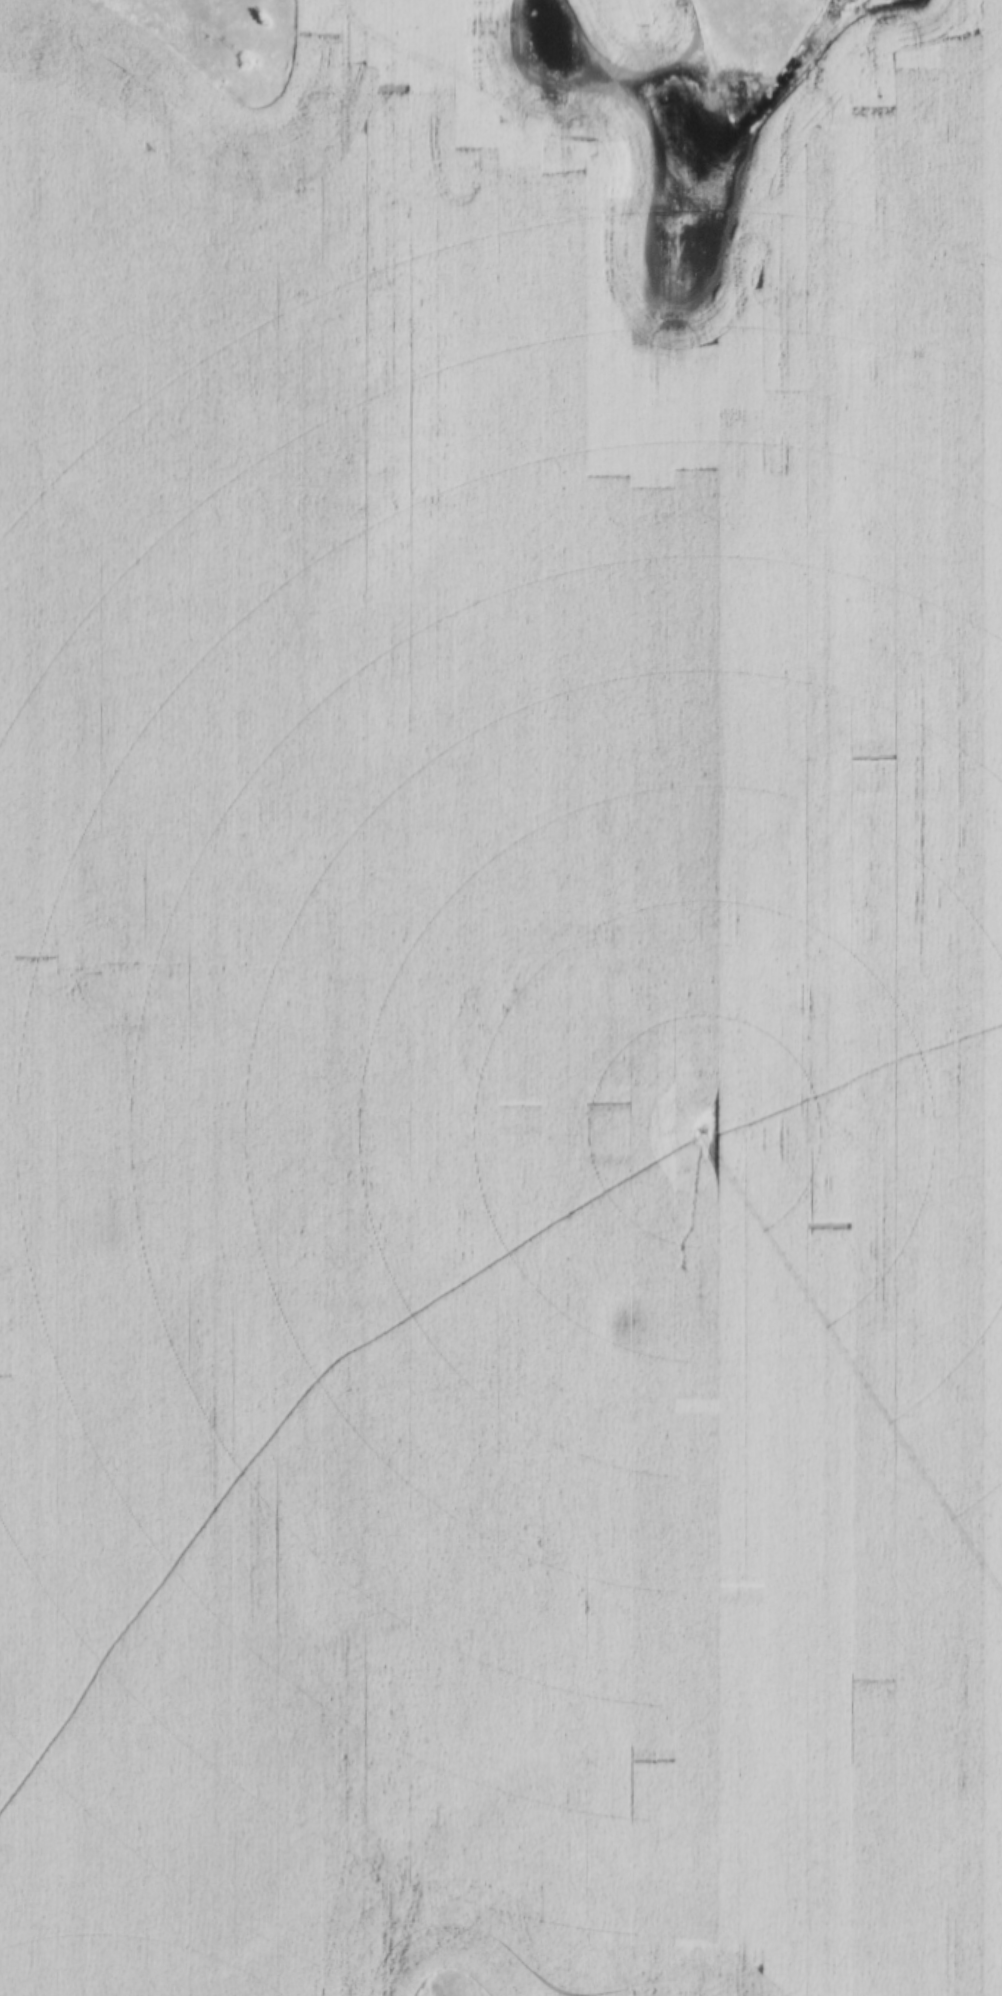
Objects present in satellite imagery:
road: (592, 1846)

